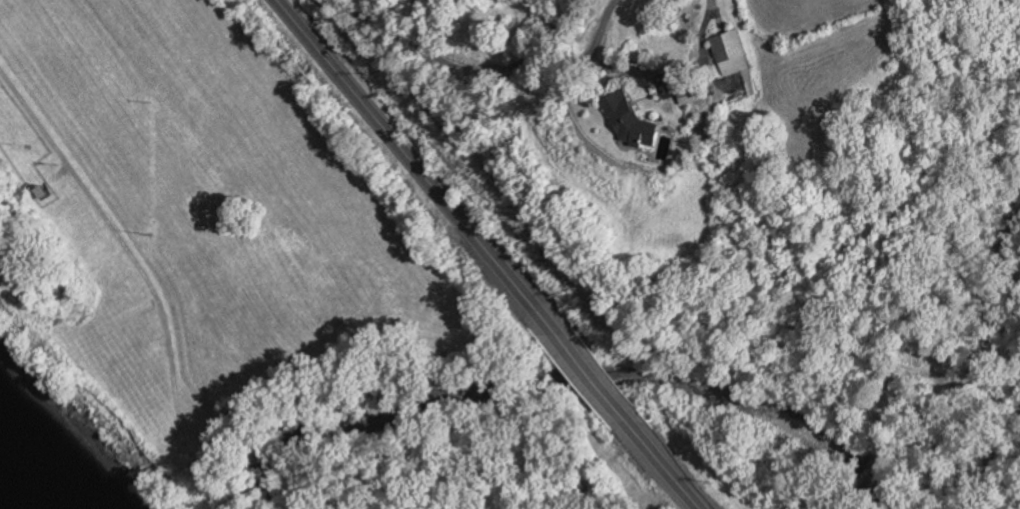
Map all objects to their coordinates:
building: (730, 51)
road: (480, 63)
road: (663, 76)
building: (628, 119)
road: (413, 167)
road: (99, 214)
road: (594, 373)
road: (669, 462)

